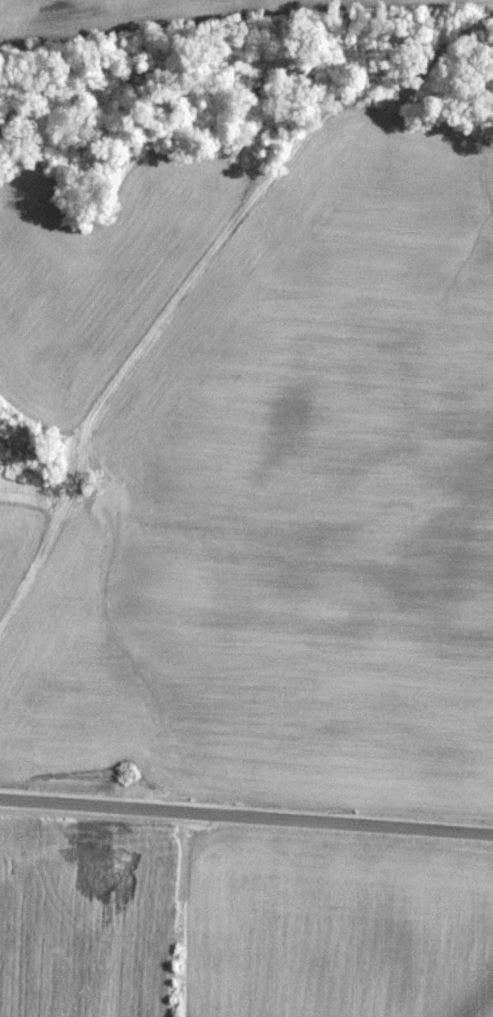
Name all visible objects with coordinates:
road: (246, 827)

